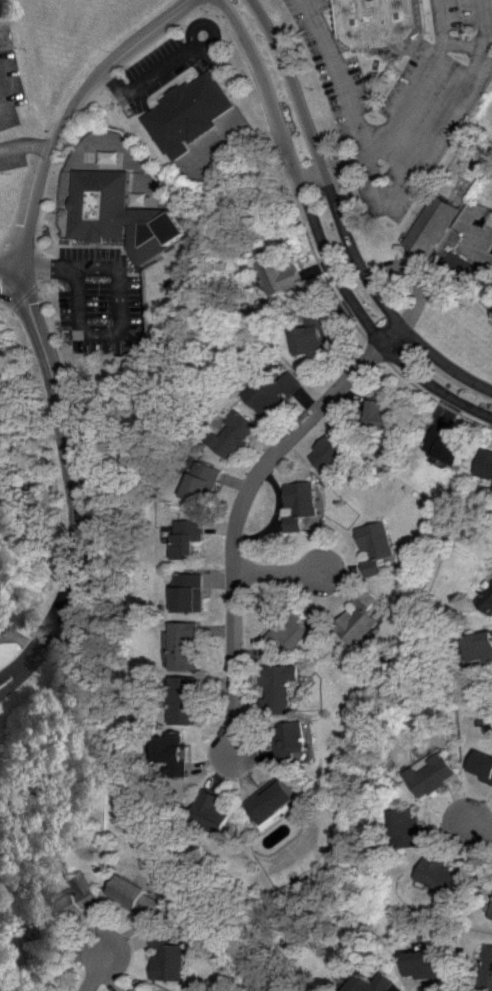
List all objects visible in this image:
building: (383, 21)
road: (469, 45)
road: (425, 75)
road: (147, 79)
building: (196, 112)
road: (353, 115)
road: (440, 127)
road: (25, 144)
building: (126, 213)
road: (339, 218)
building: (432, 225)
road: (321, 236)
road: (15, 263)
building: (462, 267)
building: (284, 274)
road: (15, 283)
road: (129, 302)
road: (36, 304)
building: (313, 334)
building: (273, 389)
building: (386, 413)
building: (234, 434)
building: (334, 450)
building: (487, 463)
building: (206, 481)
building: (300, 503)
road: (241, 513)
building: (188, 537)
building: (377, 545)
road: (280, 572)
building: (192, 592)
building: (489, 604)
building: (358, 622)
building: (290, 633)
building: (186, 644)
building: (481, 647)
road: (15, 663)
road: (19, 677)
building: (280, 686)
building: (187, 699)
building: (294, 727)
building: (484, 764)
building: (436, 775)
building: (275, 802)
building: (215, 811)
road: (481, 823)
building: (411, 828)
building: (446, 877)
building: (133, 894)
building: (72, 899)
building: (35, 952)
building: (167, 959)
building: (427, 963)
road: (97, 967)
building: (488, 968)
building: (373, 982)
building: (132, 990)

